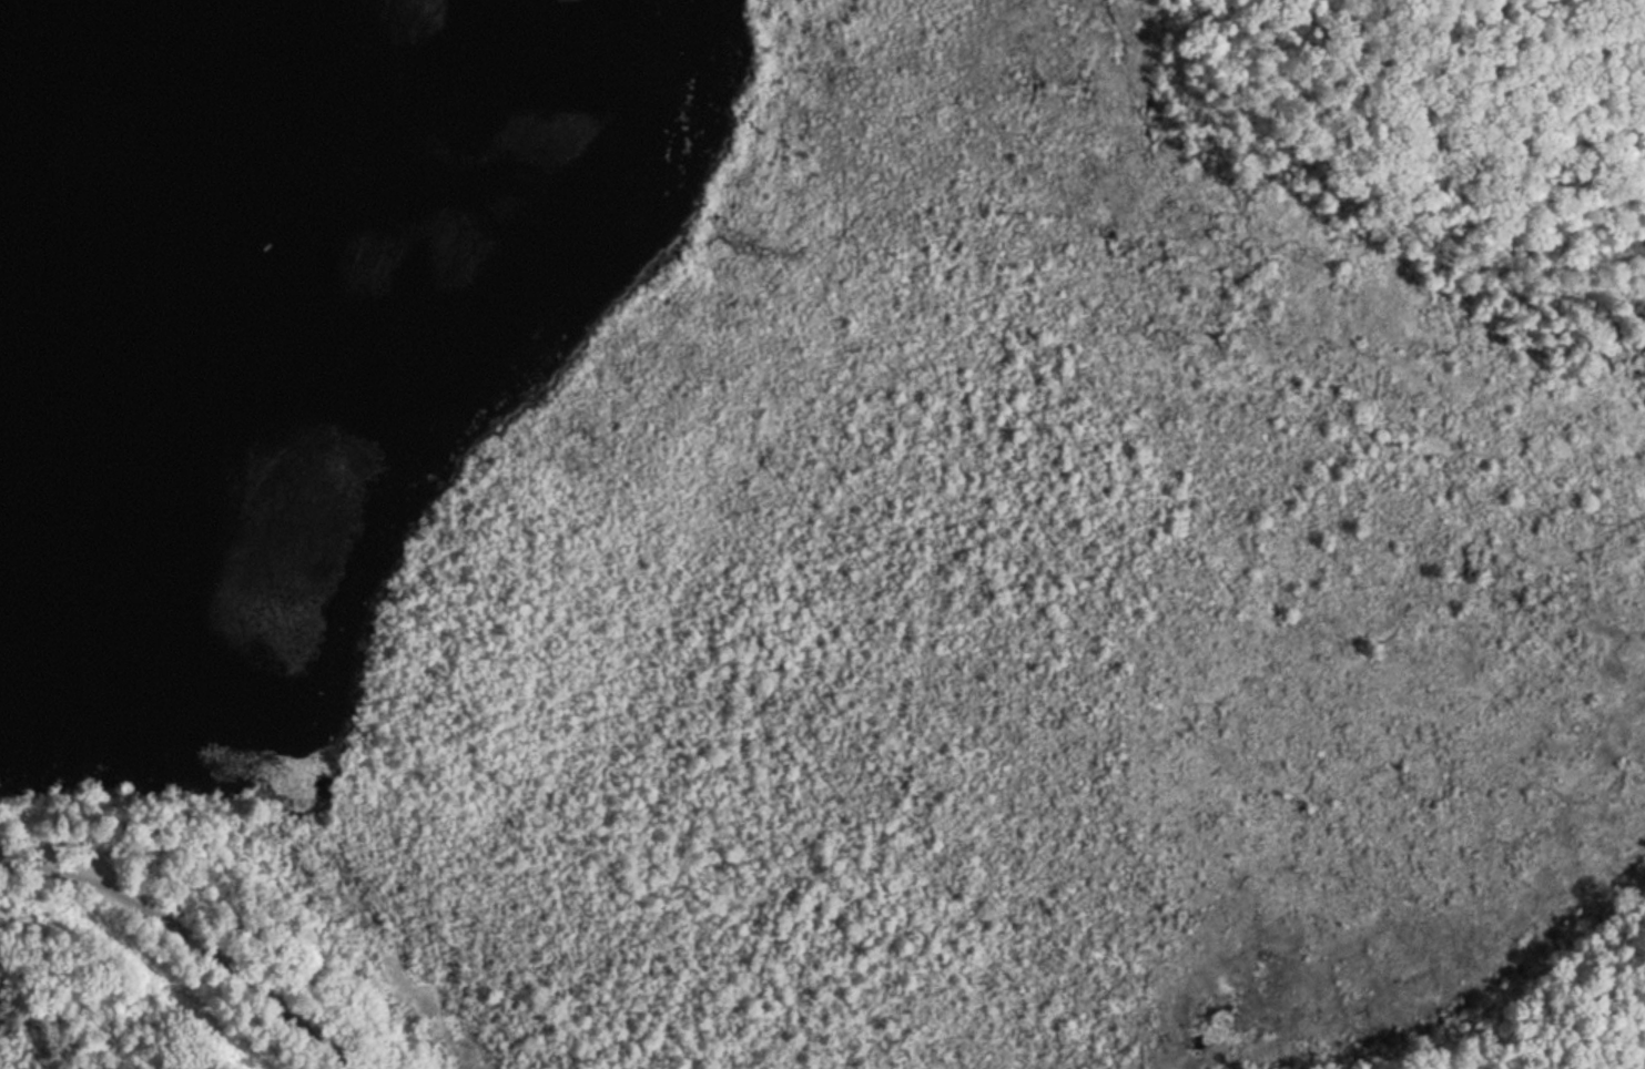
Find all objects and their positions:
road: (183, 940)

